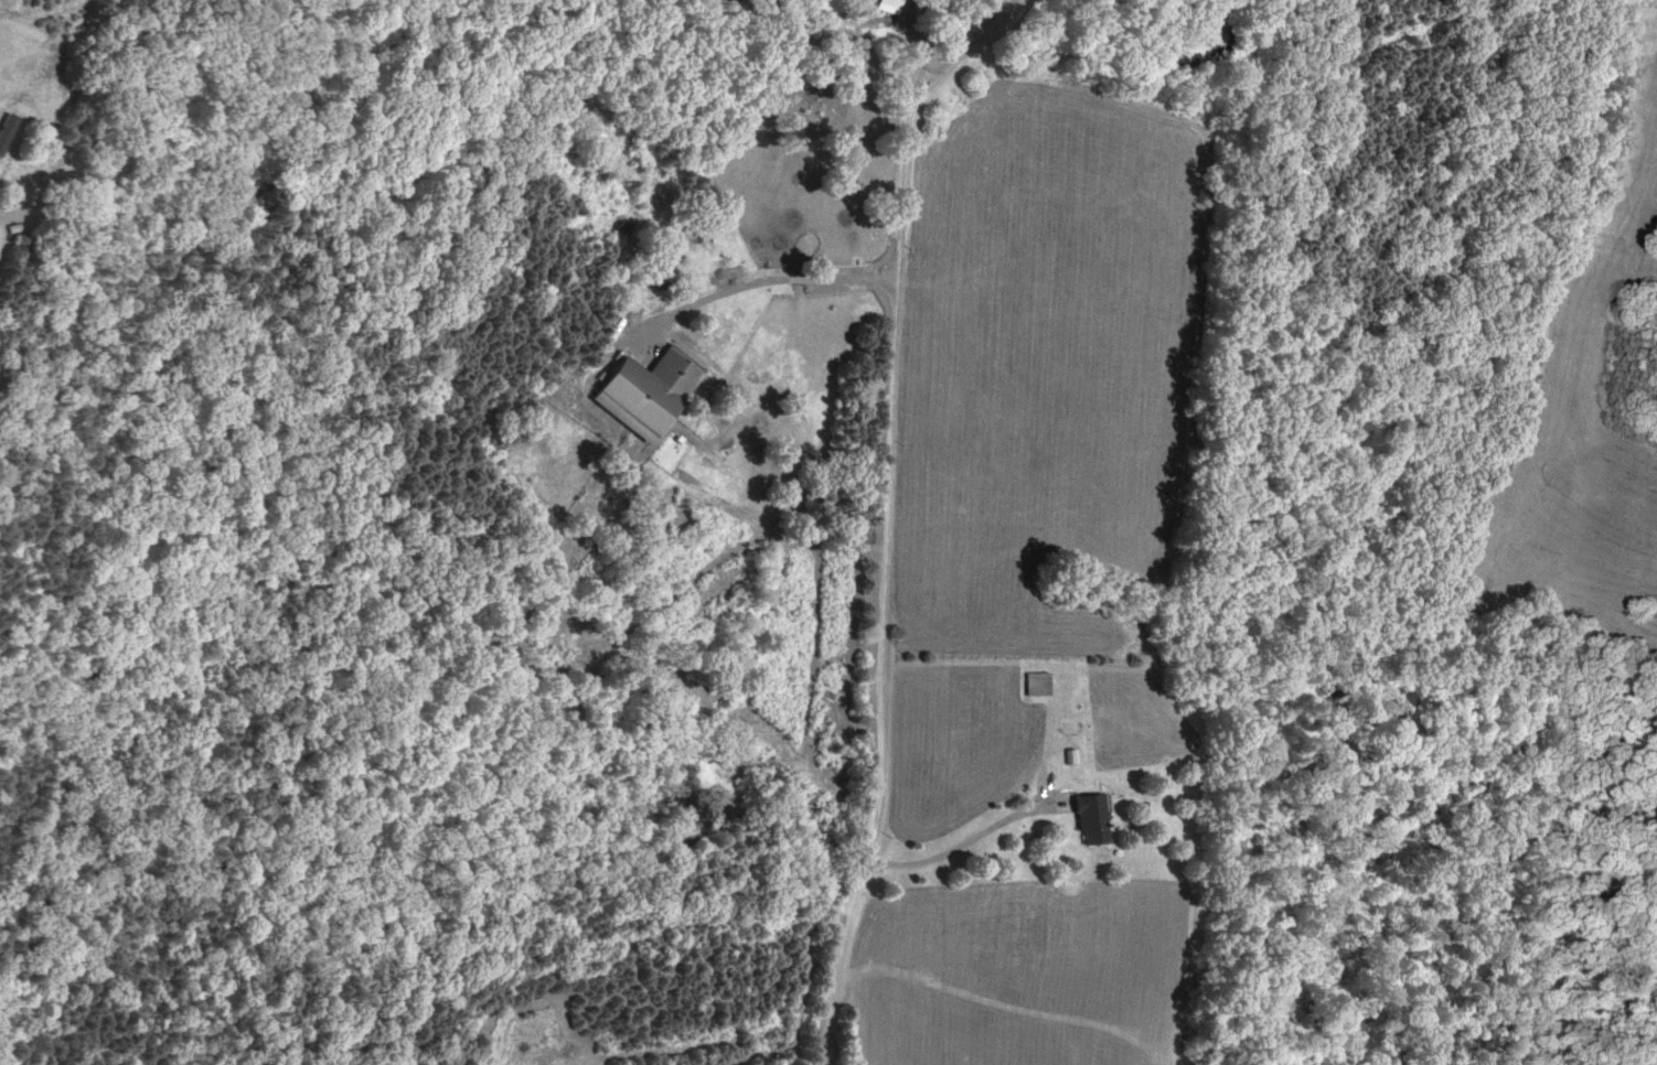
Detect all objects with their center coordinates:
building: (884, 6)
building: (55, 162)
road: (787, 279)
building: (644, 389)
road: (890, 516)
building: (1035, 682)
building: (1087, 817)

